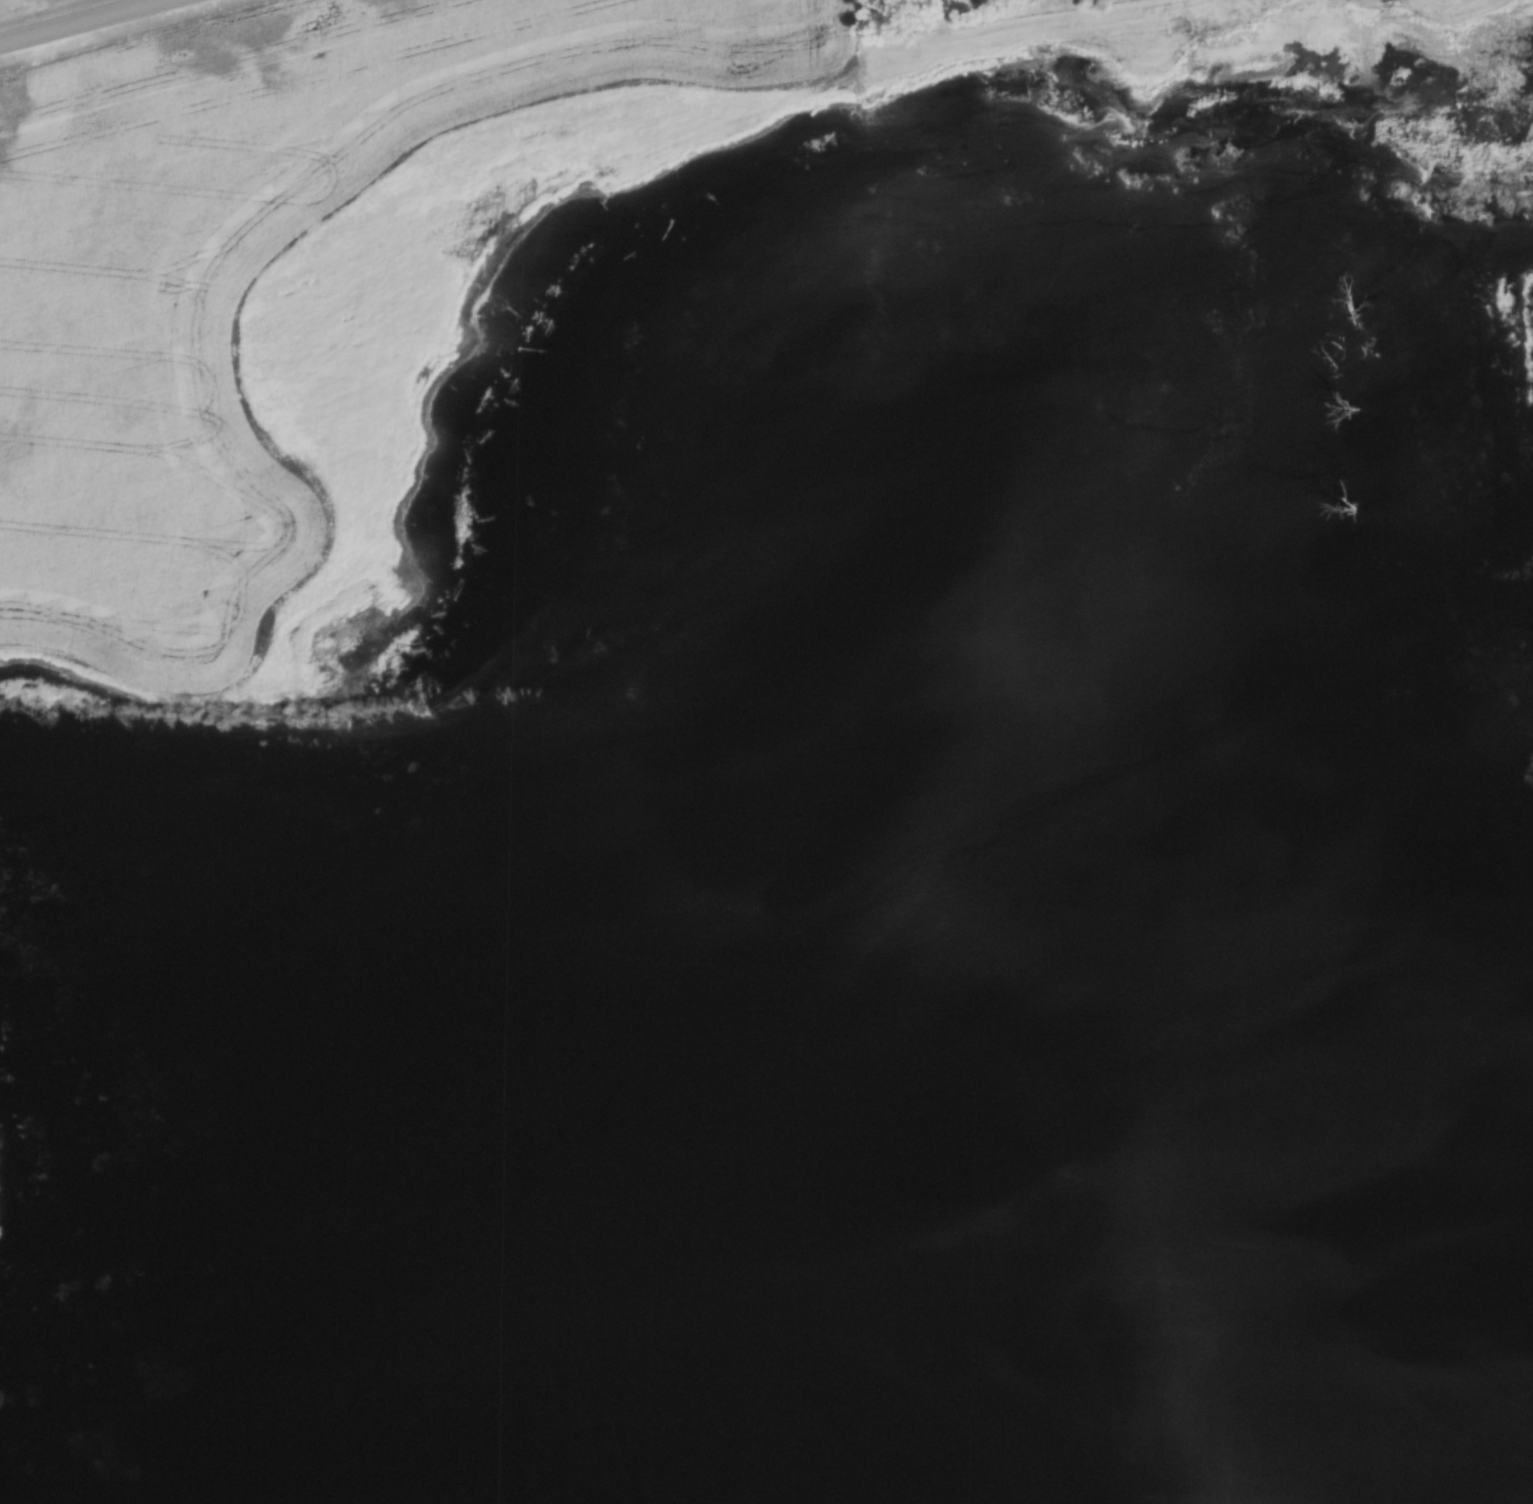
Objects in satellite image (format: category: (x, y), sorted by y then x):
road: (70, 18)

